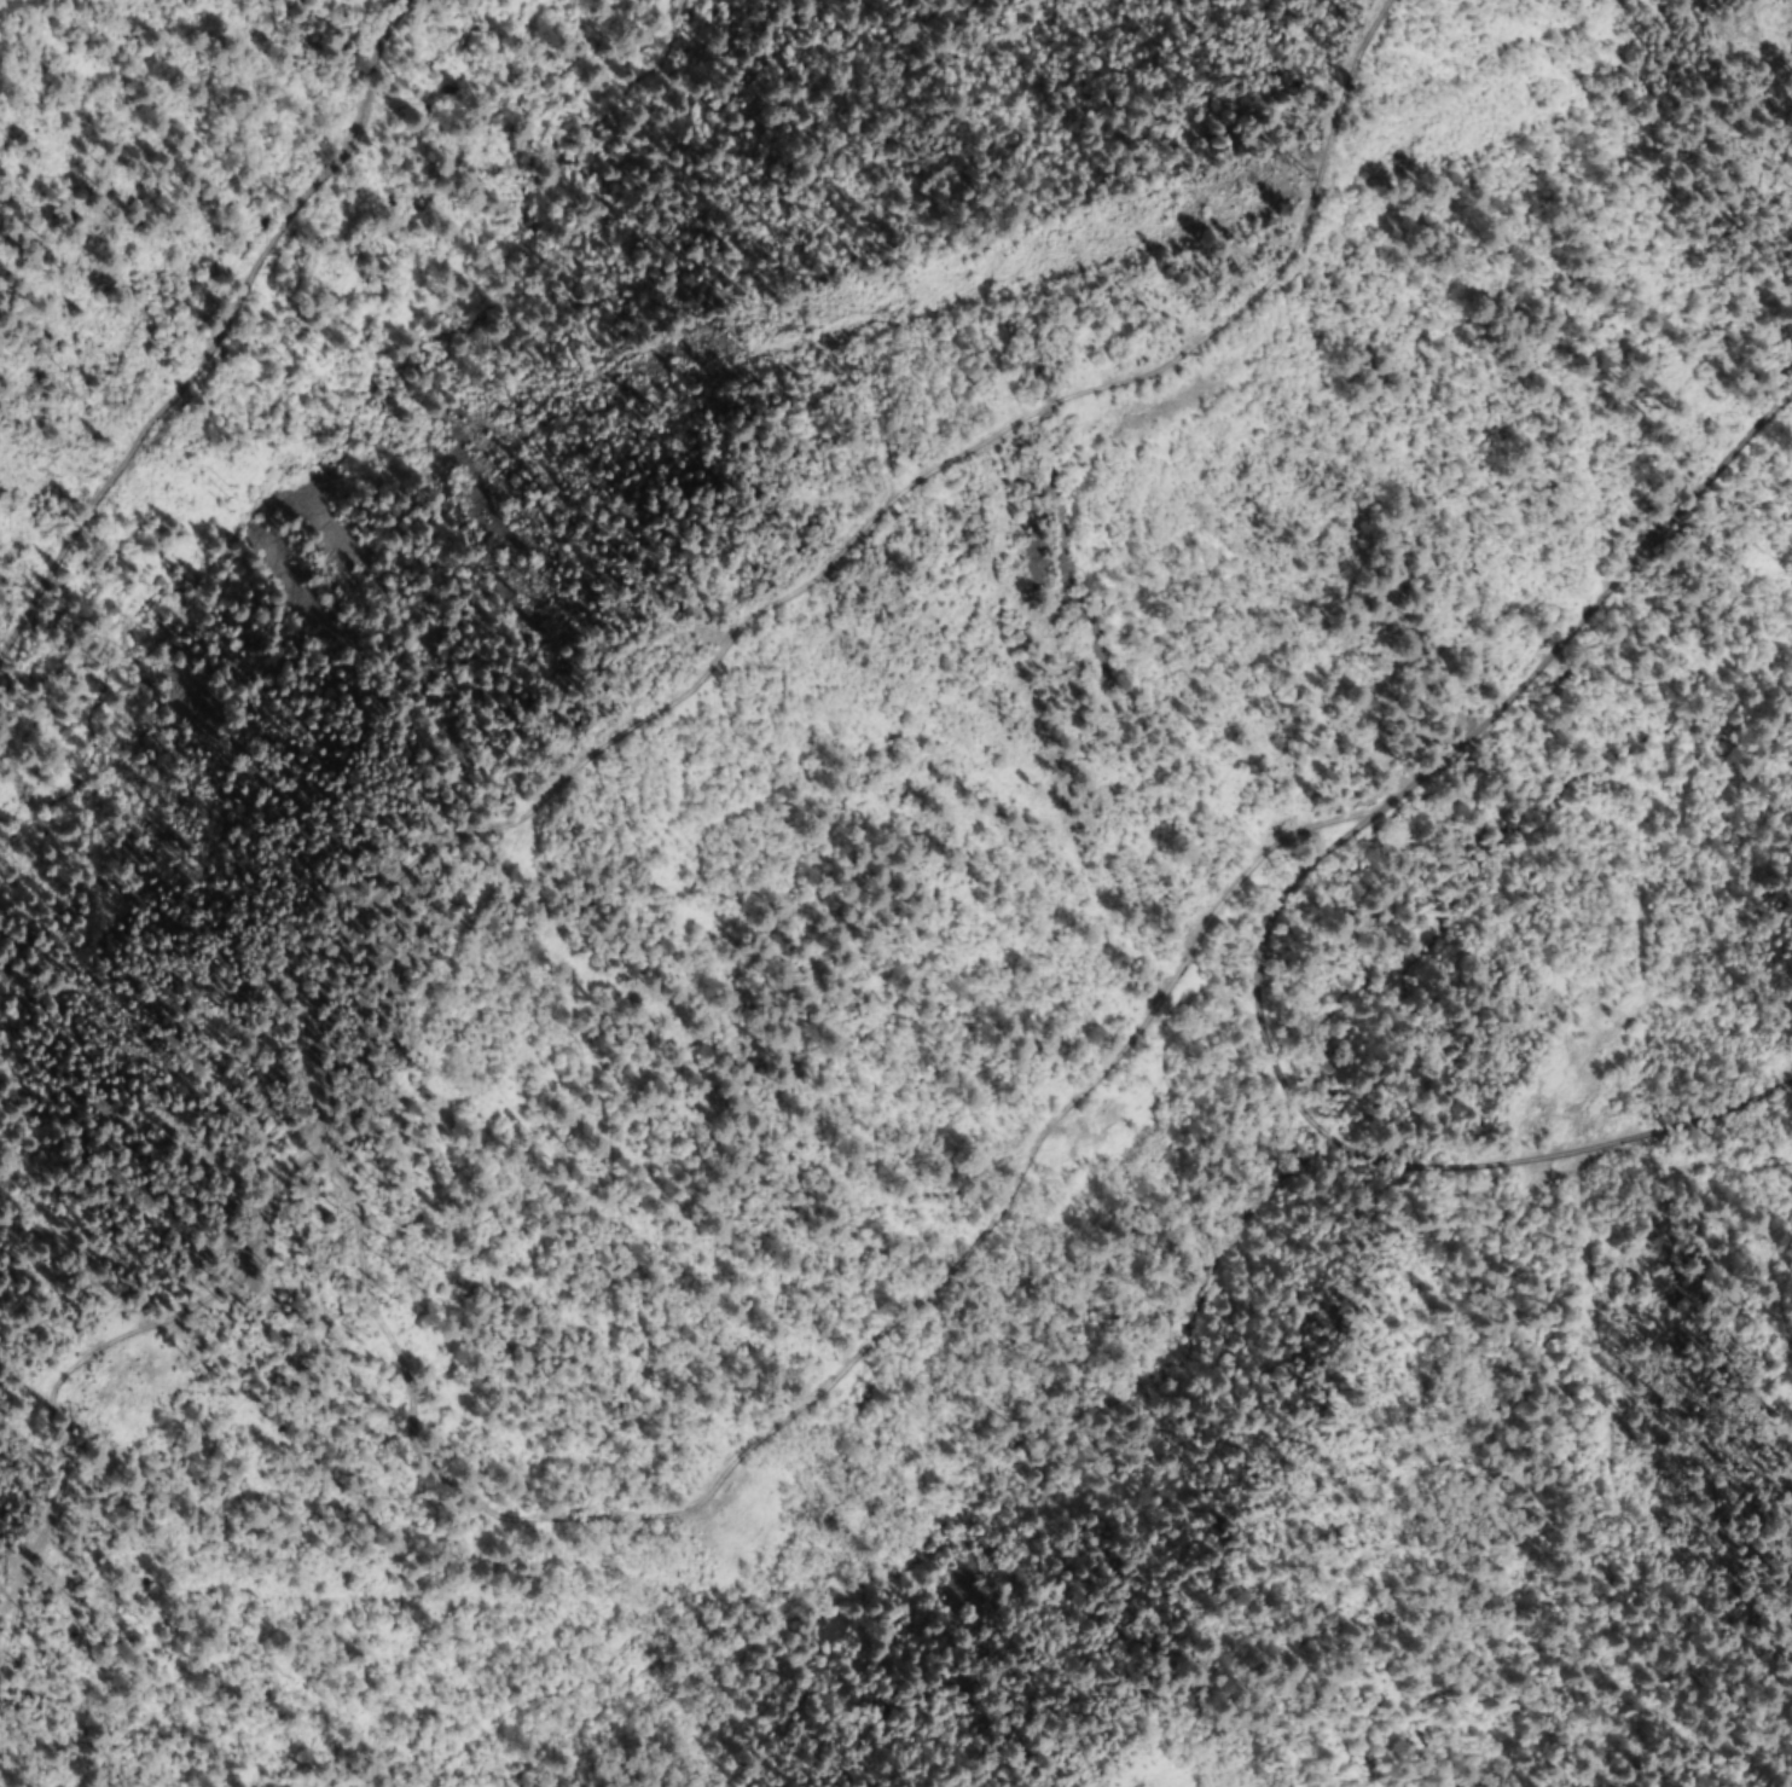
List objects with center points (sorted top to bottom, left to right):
road: (168, 255)
road: (1259, 894)

